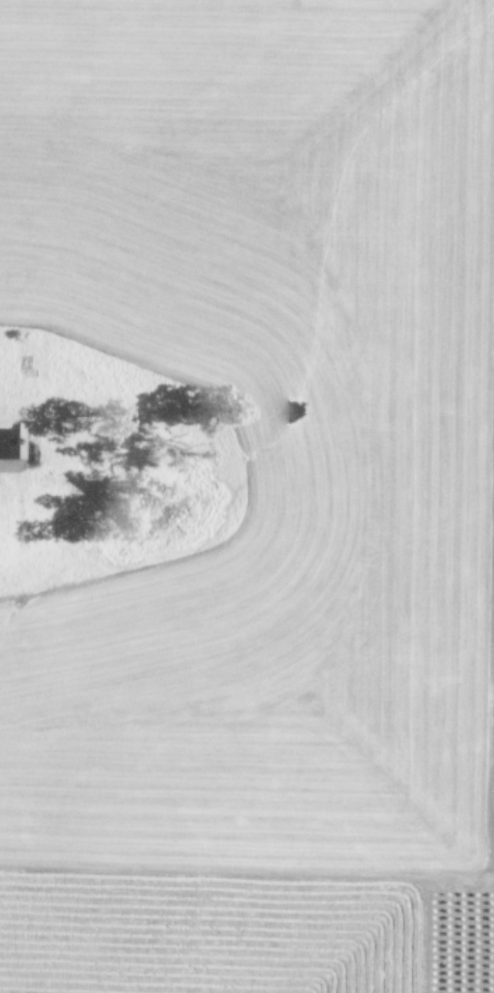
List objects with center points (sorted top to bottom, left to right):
building: (6, 449)
crop: (247, 496)

